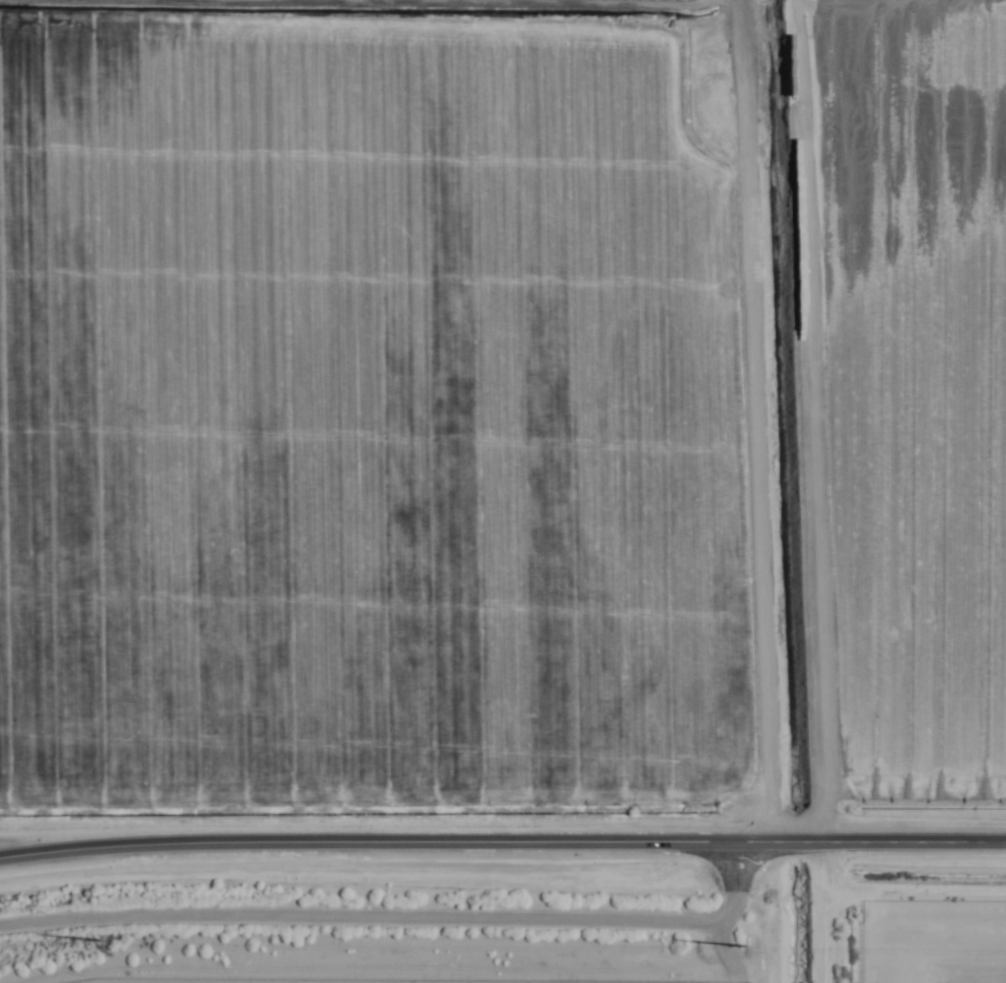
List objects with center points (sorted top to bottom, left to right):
road: (502, 844)
solar farm: (933, 943)
solar farm: (201, 981)

